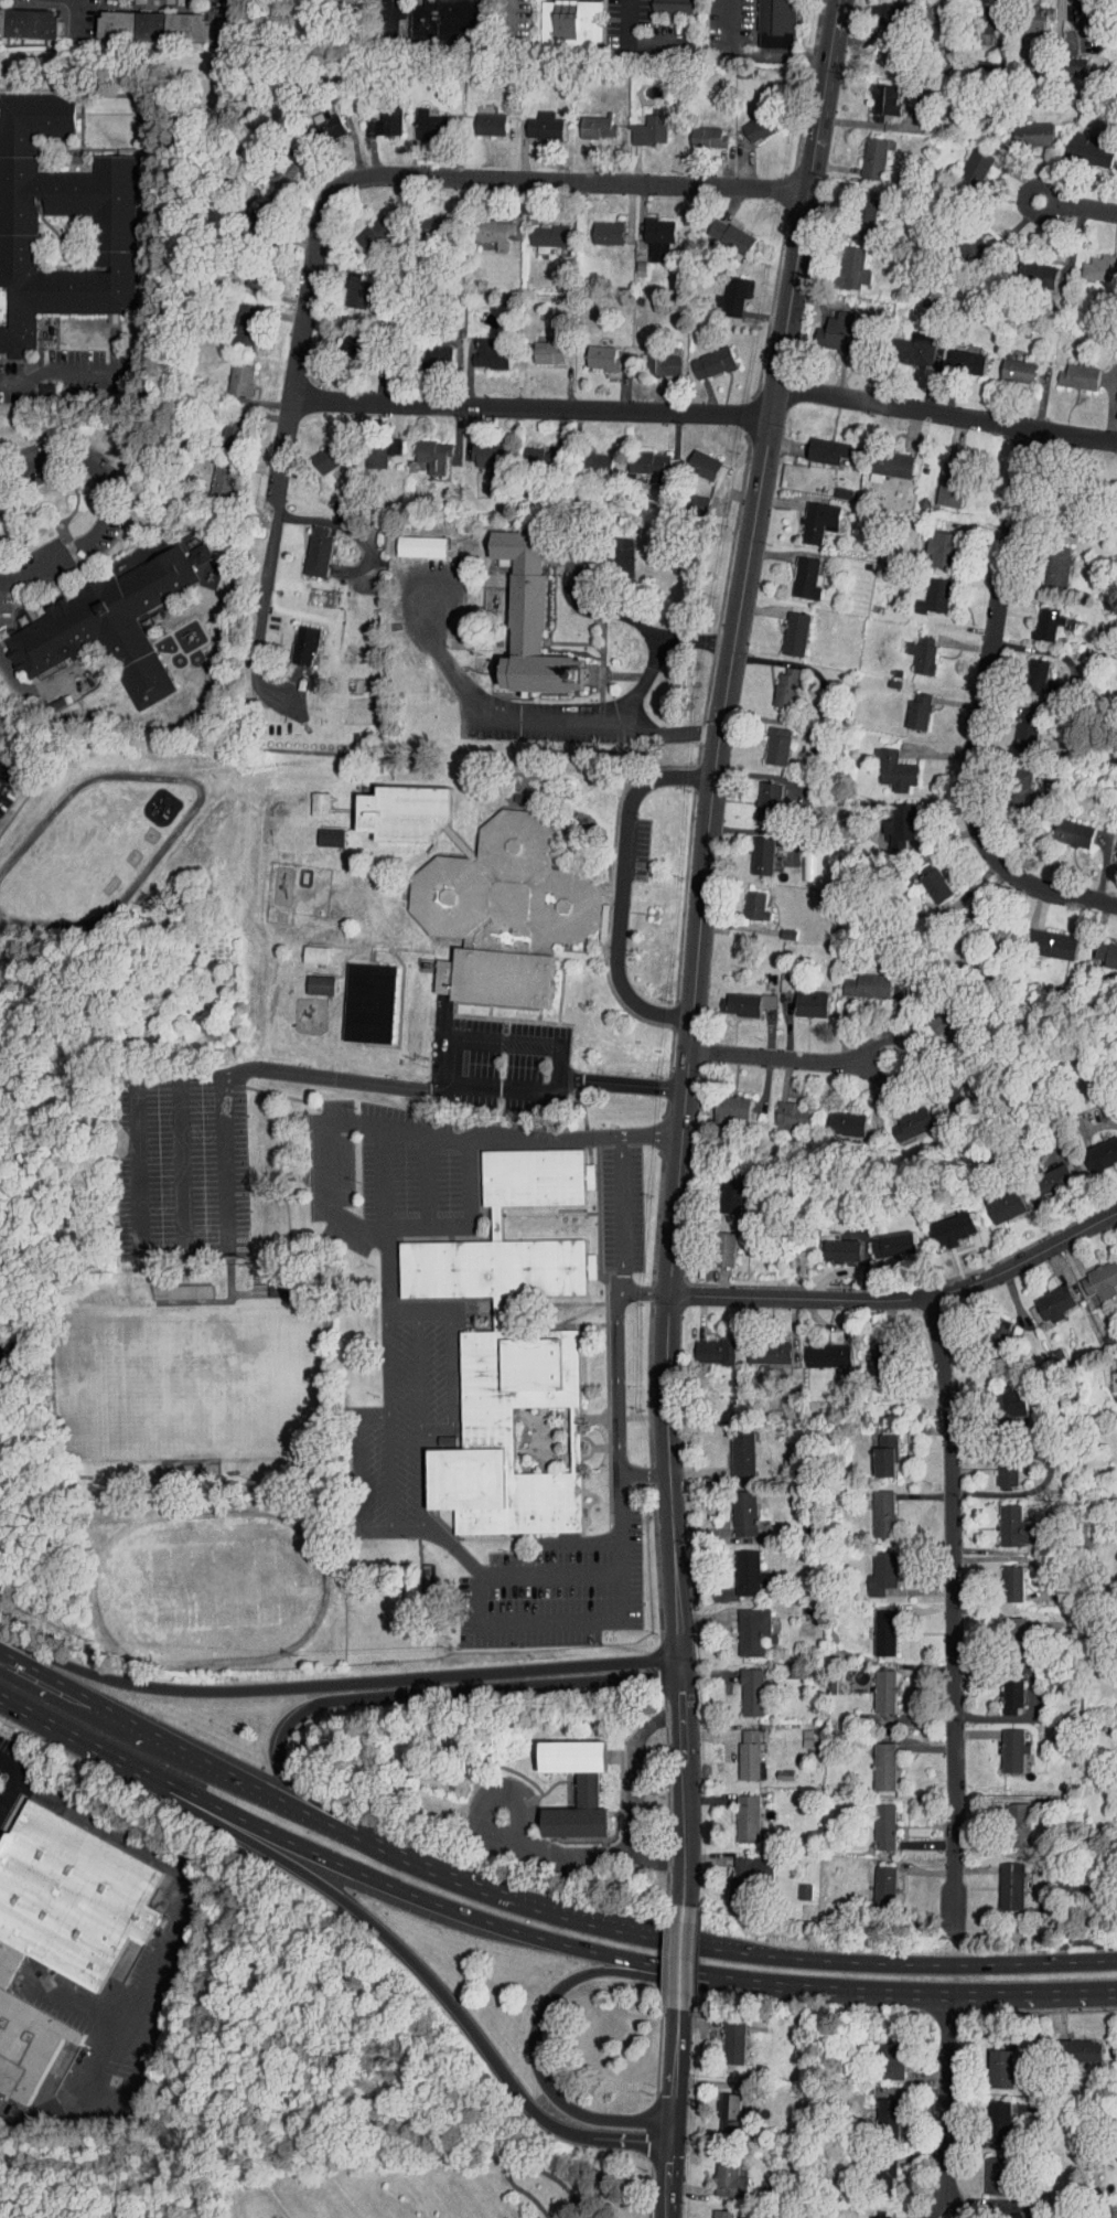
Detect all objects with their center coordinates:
building: (675, 7)
building: (926, 10)
building: (1075, 10)
building: (879, 12)
building: (1028, 14)
road: (230, 15)
road: (391, 15)
road: (76, 18)
road: (627, 18)
building: (29, 22)
building: (447, 22)
building: (778, 23)
building: (153, 24)
building: (571, 24)
road: (751, 57)
building: (1068, 58)
building: (877, 93)
building: (375, 117)
building: (480, 117)
building: (319, 118)
building: (419, 118)
building: (747, 118)
building: (534, 119)
building: (587, 120)
building: (640, 124)
building: (1023, 128)
building: (698, 130)
building: (1077, 143)
building: (862, 151)
building: (966, 159)
building: (275, 163)
road: (406, 171)
road: (1078, 204)
building: (855, 210)
building: (427, 217)
building: (485, 226)
building: (598, 226)
building: (365, 227)
building: (538, 230)
building: (719, 230)
building: (648, 231)
building: (114, 242)
building: (962, 242)
building: (842, 262)
building: (1094, 262)
building: (1031, 269)
building: (245, 271)
building: (346, 285)
building: (722, 291)
building: (235, 318)
building: (831, 327)
building: (347, 339)
building: (539, 343)
building: (905, 343)
building: (480, 348)
building: (430, 349)
building: (591, 352)
building: (653, 356)
building: (702, 356)
building: (957, 356)
building: (1009, 364)
building: (1068, 371)
building: (1114, 371)
road: (76, 372)
building: (229, 373)
building: (34, 383)
building: (45, 388)
road: (708, 415)
building: (222, 419)
building: (817, 445)
building: (477, 449)
building: (365, 450)
building: (423, 450)
building: (528, 451)
building: (316, 452)
building: (882, 457)
building: (587, 458)
building: (641, 458)
building: (694, 459)
building: (212, 474)
building: (942, 478)
building: (1115, 495)
building: (691, 498)
road: (107, 503)
building: (807, 515)
road: (341, 524)
building: (411, 541)
building: (932, 543)
building: (308, 546)
building: (1049, 562)
road: (743, 564)
building: (795, 573)
road: (569, 580)
building: (924, 590)
road: (260, 606)
building: (523, 615)
building: (1039, 618)
building: (111, 623)
building: (785, 628)
building: (294, 639)
road: (655, 647)
building: (912, 649)
building: (1030, 671)
building: (776, 681)
building: (907, 704)
road: (979, 710)
road: (523, 716)
building: (1017, 722)
building: (767, 740)
building: (885, 764)
parking lot: (6, 779)
building: (759, 793)
building: (309, 796)
building: (408, 813)
building: (890, 818)
building: (1063, 827)
building: (320, 830)
building: (1111, 841)
building: (460, 843)
building: (752, 847)
parking lot: (640, 850)
building: (924, 876)
road: (621, 889)
building: (507, 891)
building: (747, 898)
flagpole: (655, 914)
building: (989, 924)
building: (1042, 937)
building: (303, 947)
building: (1102, 948)
building: (310, 978)
building: (504, 979)
building: (857, 979)
building: (801, 995)
building: (733, 996)
building: (372, 1004)
building: (935, 1022)
road: (498, 1042)
road: (787, 1057)
parking lot: (496, 1064)
road: (340, 1079)
road: (624, 1084)
road: (555, 1086)
road: (498, 1089)
building: (722, 1102)
building: (784, 1109)
building: (837, 1117)
building: (901, 1117)
road: (396, 1129)
building: (1095, 1145)
building: (1042, 1173)
building: (537, 1177)
road: (383, 1183)
building: (722, 1188)
building: (995, 1198)
road: (620, 1213)
road: (673, 1213)
building: (943, 1220)
building: (498, 1223)
building: (884, 1237)
building: (716, 1241)
building: (831, 1244)
building: (496, 1270)
building: (1093, 1273)
building: (268, 1278)
building: (171, 1283)
building: (1044, 1295)
road: (900, 1297)
road: (401, 1313)
road: (433, 1313)
building: (500, 1314)
building: (994, 1322)
building: (705, 1344)
building: (759, 1345)
building: (818, 1348)
building: (873, 1352)
road: (620, 1358)
road: (387, 1364)
parking lot: (505, 1366)
stadium: (178, 1371)
building: (1109, 1374)
park: (175, 1375)
road: (449, 1386)
building: (1006, 1394)
building: (597, 1417)
road: (420, 1422)
building: (1114, 1423)
building: (517, 1438)
building: (732, 1447)
building: (876, 1448)
road: (357, 1455)
building: (175, 1463)
building: (997, 1464)
road: (390, 1472)
road: (644, 1472)
road: (668, 1479)
building: (733, 1506)
building: (872, 1506)
building: (1003, 1519)
road: (375, 1529)
building: (738, 1566)
building: (871, 1566)
road: (550, 1571)
building: (1003, 1578)
park: (218, 1580)
track: (208, 1588)
road: (949, 1612)
building: (1002, 1619)
road: (547, 1621)
building: (742, 1623)
building: (873, 1625)
road: (334, 1684)
building: (876, 1684)
building: (742, 1685)
building: (1001, 1691)
road: (4, 1695)
road: (373, 1695)
road: (88, 1717)
road: (64, 1727)
building: (1116, 1728)
building: (1003, 1744)
building: (739, 1747)
road: (206, 1758)
building: (874, 1760)
road: (10, 1767)
building: (566, 1781)
road: (681, 1783)
road: (10, 1792)
road: (637, 1794)
building: (738, 1812)
building: (1008, 1817)
building: (874, 1820)
road: (513, 1841)
building: (740, 1870)
building: (1000, 1879)
building: (873, 1880)
building: (795, 1885)
building: (73, 1896)
road: (425, 1898)
road: (405, 1952)
road: (759, 1953)
road: (679, 1955)
road: (165, 1961)
road: (933, 1991)
road: (544, 2004)
road: (813, 2011)
building: (25, 2035)
building: (732, 2039)
building: (1077, 2049)
building: (888, 2058)
building: (999, 2067)
road: (672, 2069)
traffic signals: (670, 2096)
road: (945, 2104)
park: (321, 2112)
building: (730, 2112)
building: (885, 2119)
building: (997, 2119)
building: (1116, 2125)
traffic signals: (641, 2142)
traffic signals: (666, 2157)
road: (523, 2162)
building: (881, 2172)
building: (997, 2173)
road: (665, 2174)
building: (728, 2176)
building: (721, 2214)
building: (880, 2215)
building: (1012, 2215)

